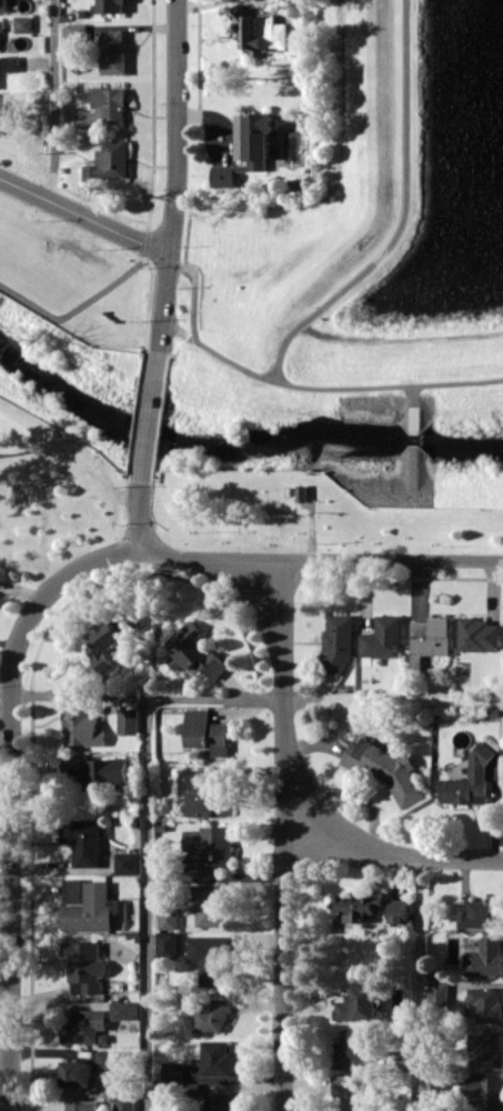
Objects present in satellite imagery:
building: (2, 6)
building: (108, 6)
building: (23, 23)
building: (260, 30)
building: (77, 32)
building: (0, 36)
building: (113, 51)
building: (9, 62)
road: (53, 99)
building: (107, 108)
building: (0, 116)
building: (248, 148)
building: (110, 161)
road: (177, 186)
road: (85, 216)
road: (405, 216)
road: (163, 262)
road: (390, 387)
road: (151, 416)
river: (237, 447)
building: (305, 492)
road: (320, 561)
building: (479, 633)
building: (383, 637)
building: (111, 638)
building: (430, 639)
building: (338, 642)
building: (193, 653)
road: (147, 694)
building: (128, 721)
building: (81, 728)
building: (205, 732)
road: (10, 750)
building: (385, 769)
building: (97, 771)
building: (469, 781)
building: (203, 793)
road: (283, 815)
building: (82, 840)
building: (211, 847)
building: (125, 862)
building: (73, 890)
road: (147, 903)
building: (211, 904)
building: (359, 905)
building: (90, 909)
building: (399, 910)
building: (482, 912)
building: (168, 918)
building: (167, 944)
building: (210, 957)
building: (485, 958)
building: (84, 967)
road: (284, 981)
road: (419, 983)
building: (437, 993)
building: (483, 1003)
building: (359, 1004)
building: (124, 1010)
building: (212, 1015)
building: (84, 1027)
building: (352, 1045)
building: (485, 1049)
building: (104, 1058)
building: (215, 1058)
building: (171, 1070)
building: (78, 1073)
building: (352, 1092)
building: (483, 1092)
building: (218, 1101)
building: (123, 1102)
building: (80, 1105)

